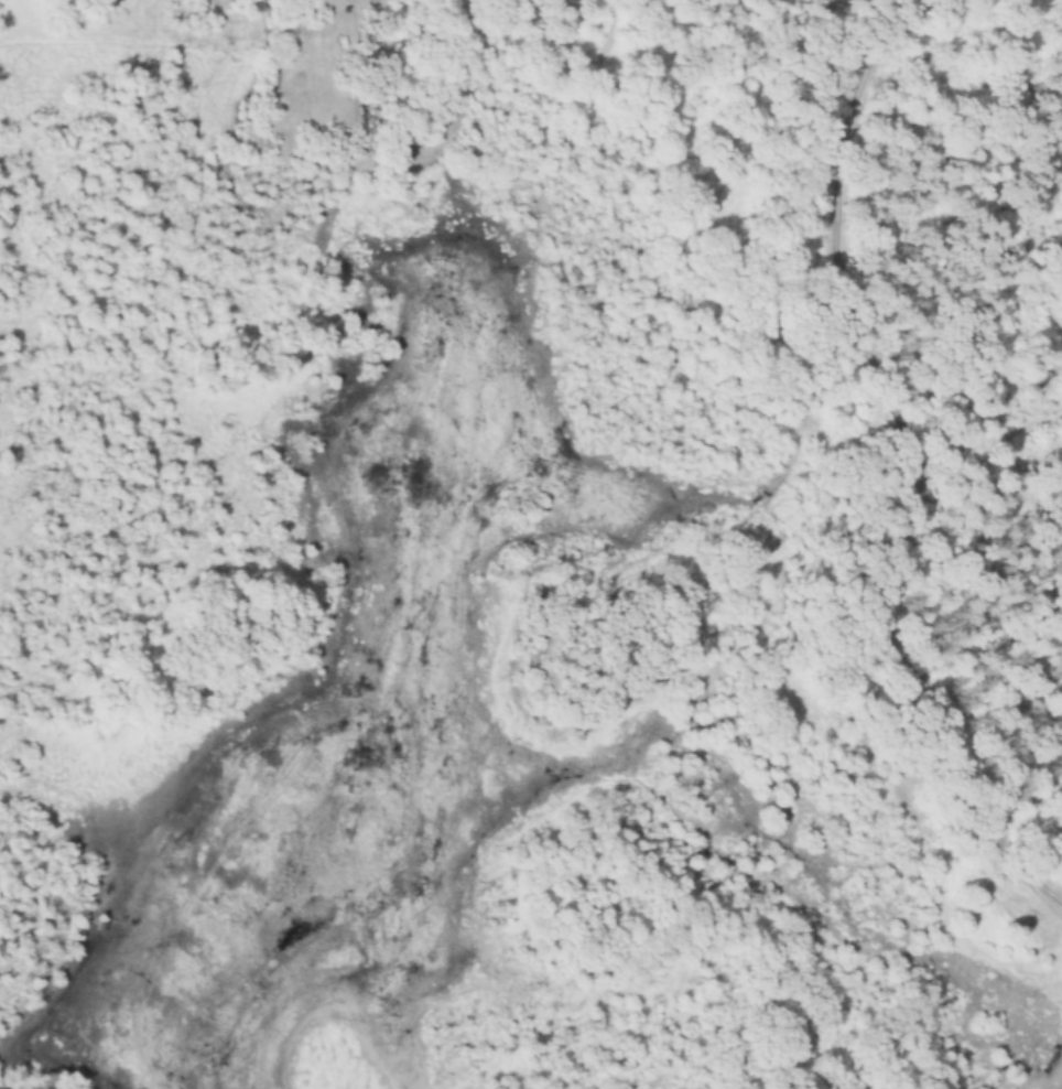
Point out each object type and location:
road: (919, 476)

